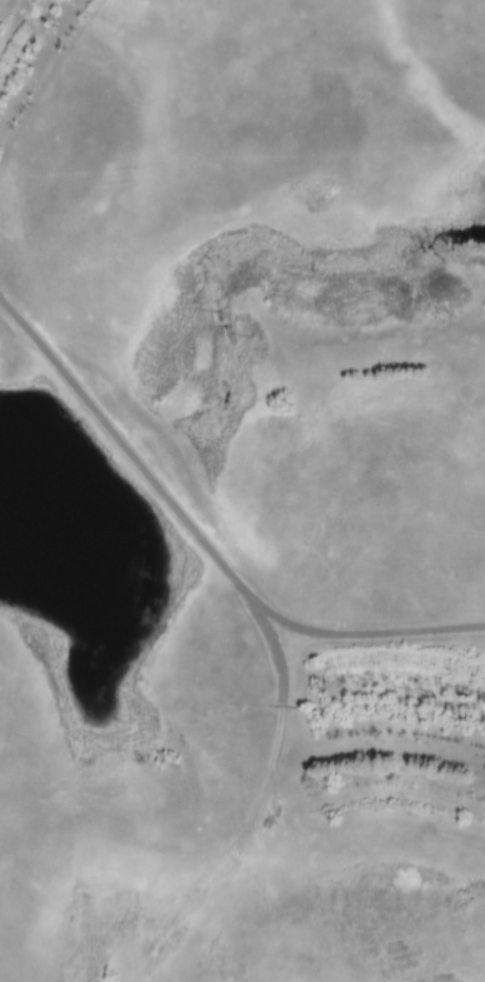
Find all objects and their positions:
road: (204, 543)
road: (484, 625)
road: (283, 809)
road: (210, 879)

